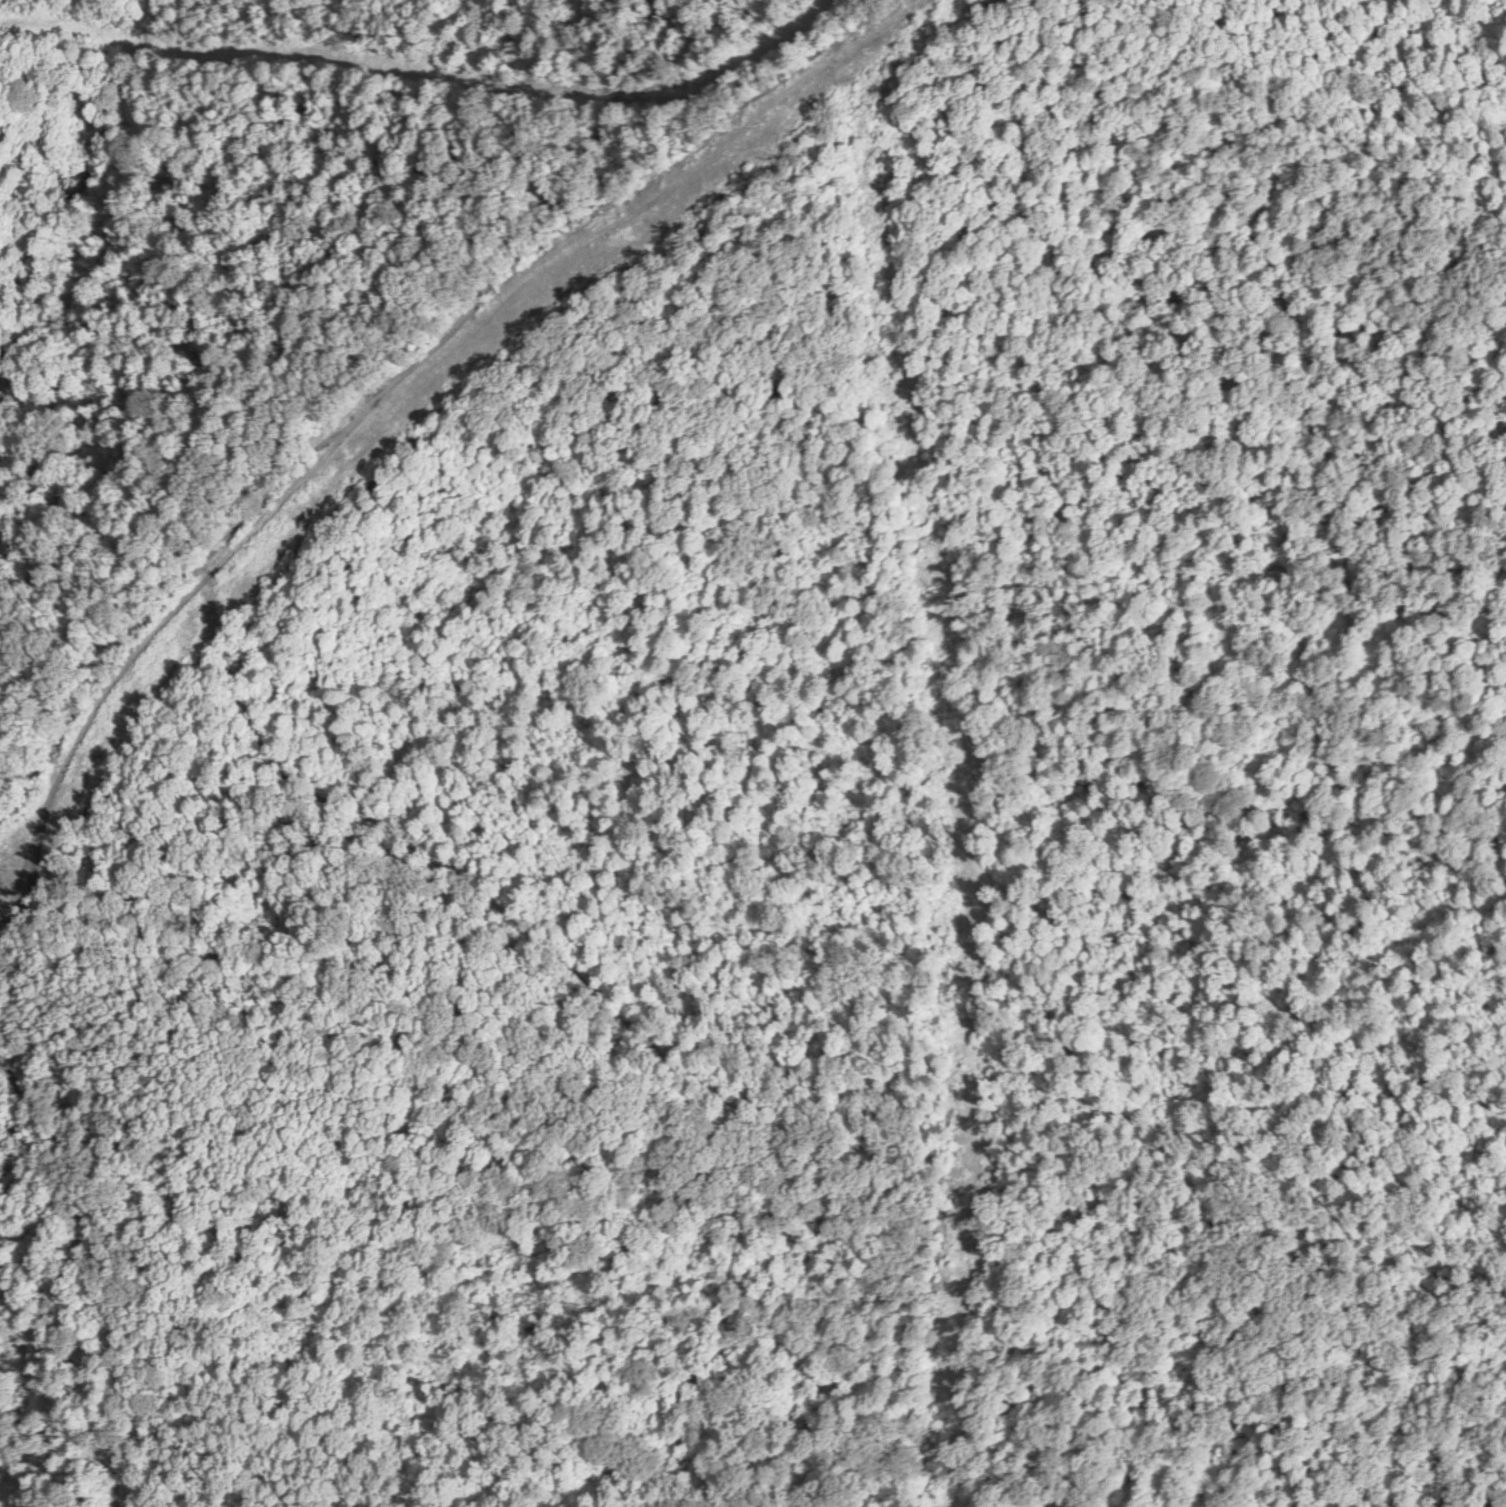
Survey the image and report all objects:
road: (357, 400)
road: (83, 1329)

